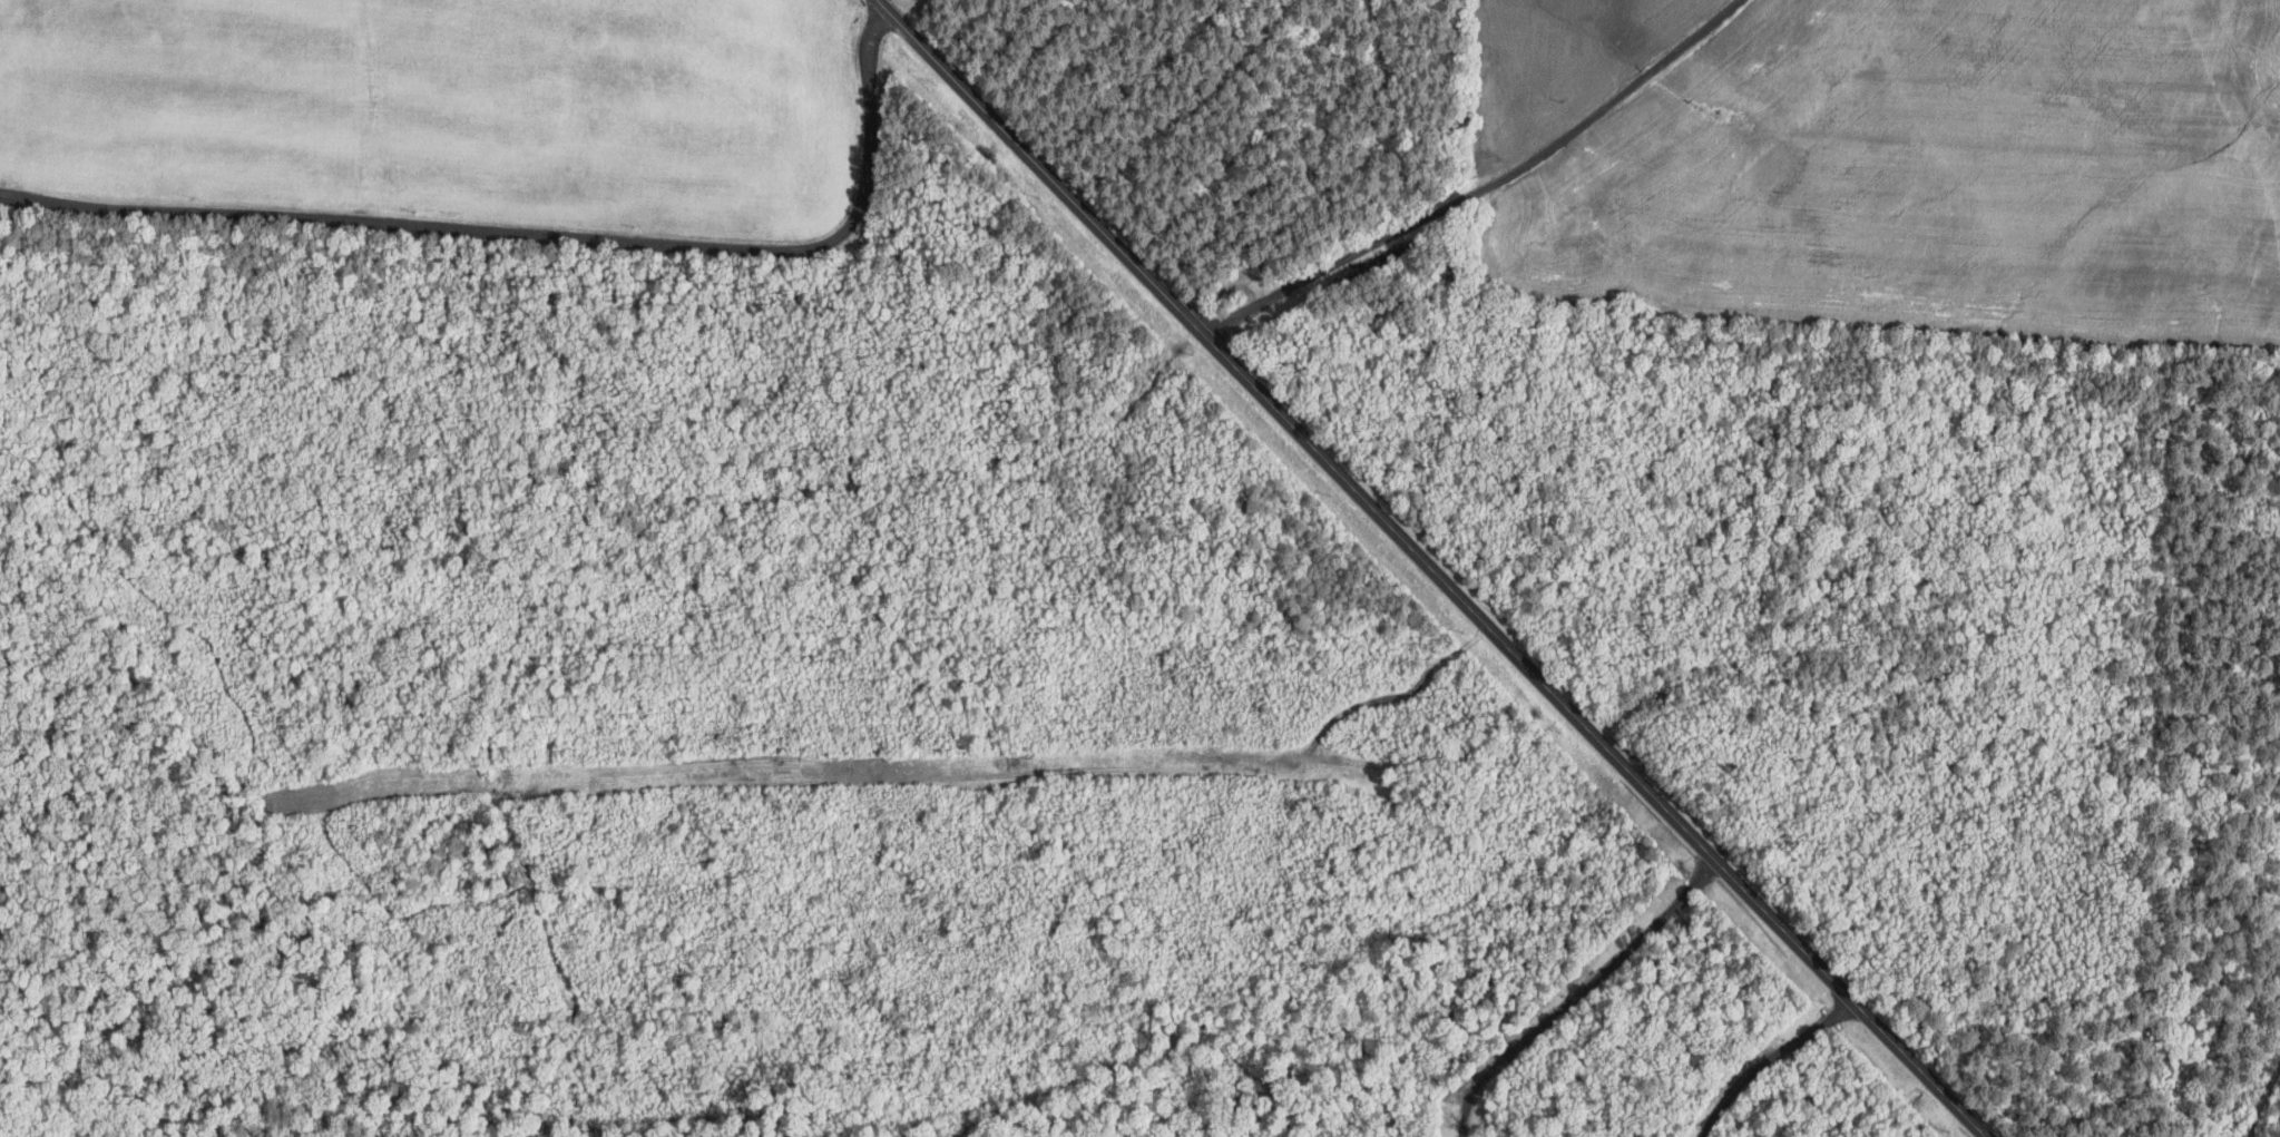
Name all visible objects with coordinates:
road: (1480, 188)
road: (539, 236)
road: (809, 310)
road: (1430, 579)
road: (1145, 717)
road: (1578, 993)
road: (1770, 1057)
road: (2250, 1077)

